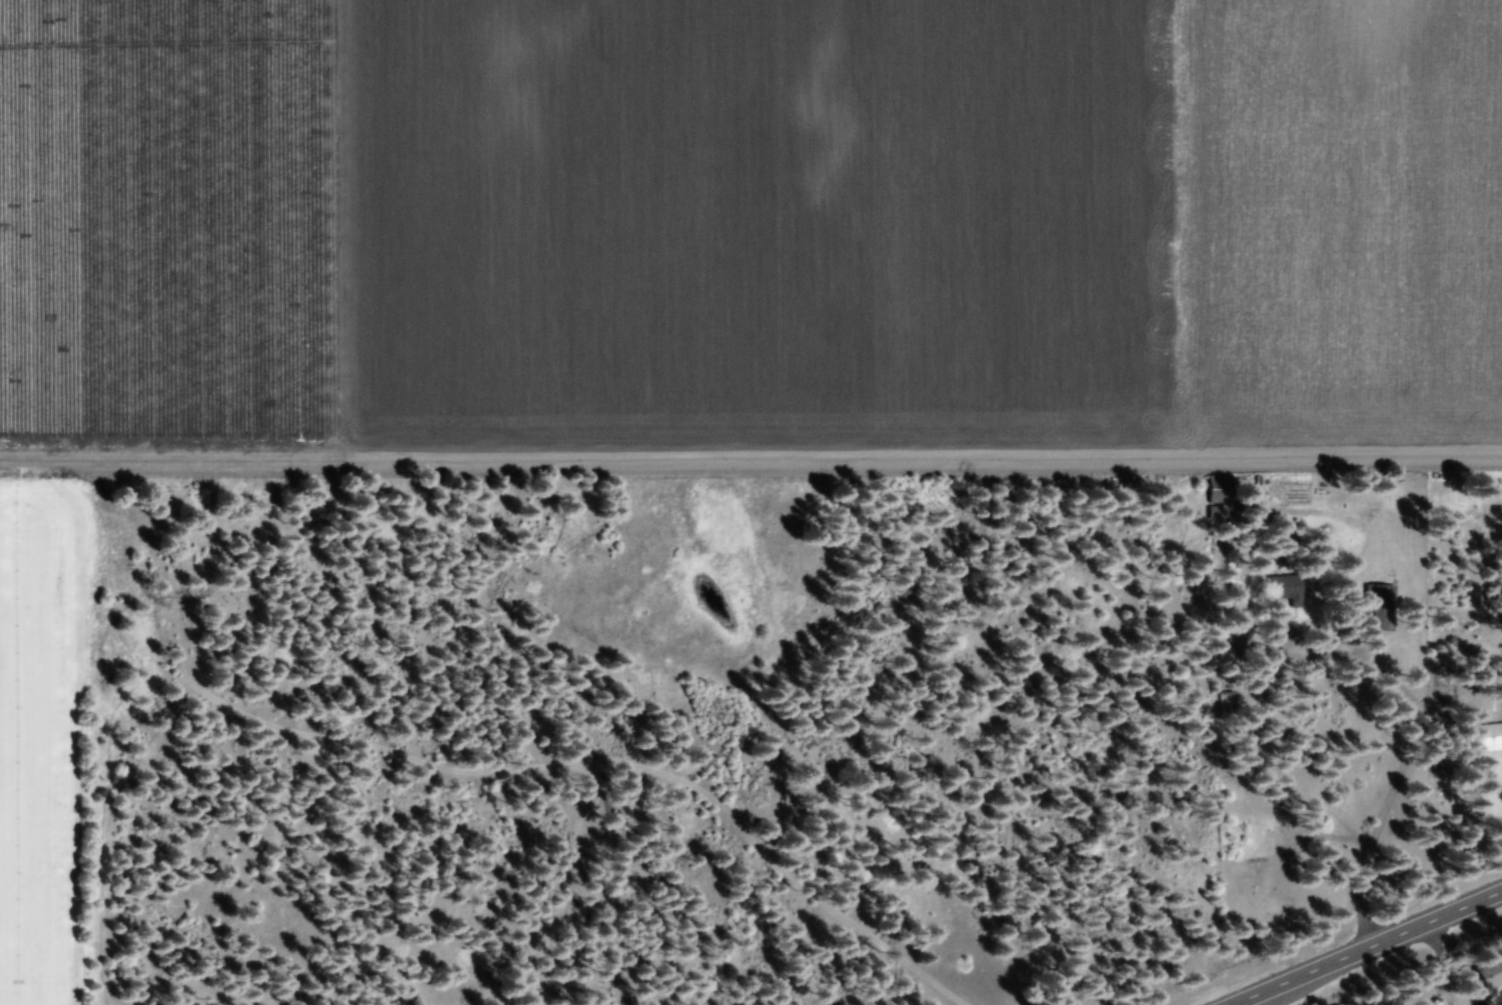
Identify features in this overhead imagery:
building: (1216, 491)
building: (1377, 595)
building: (1486, 739)
road: (1373, 951)
building: (1488, 978)

